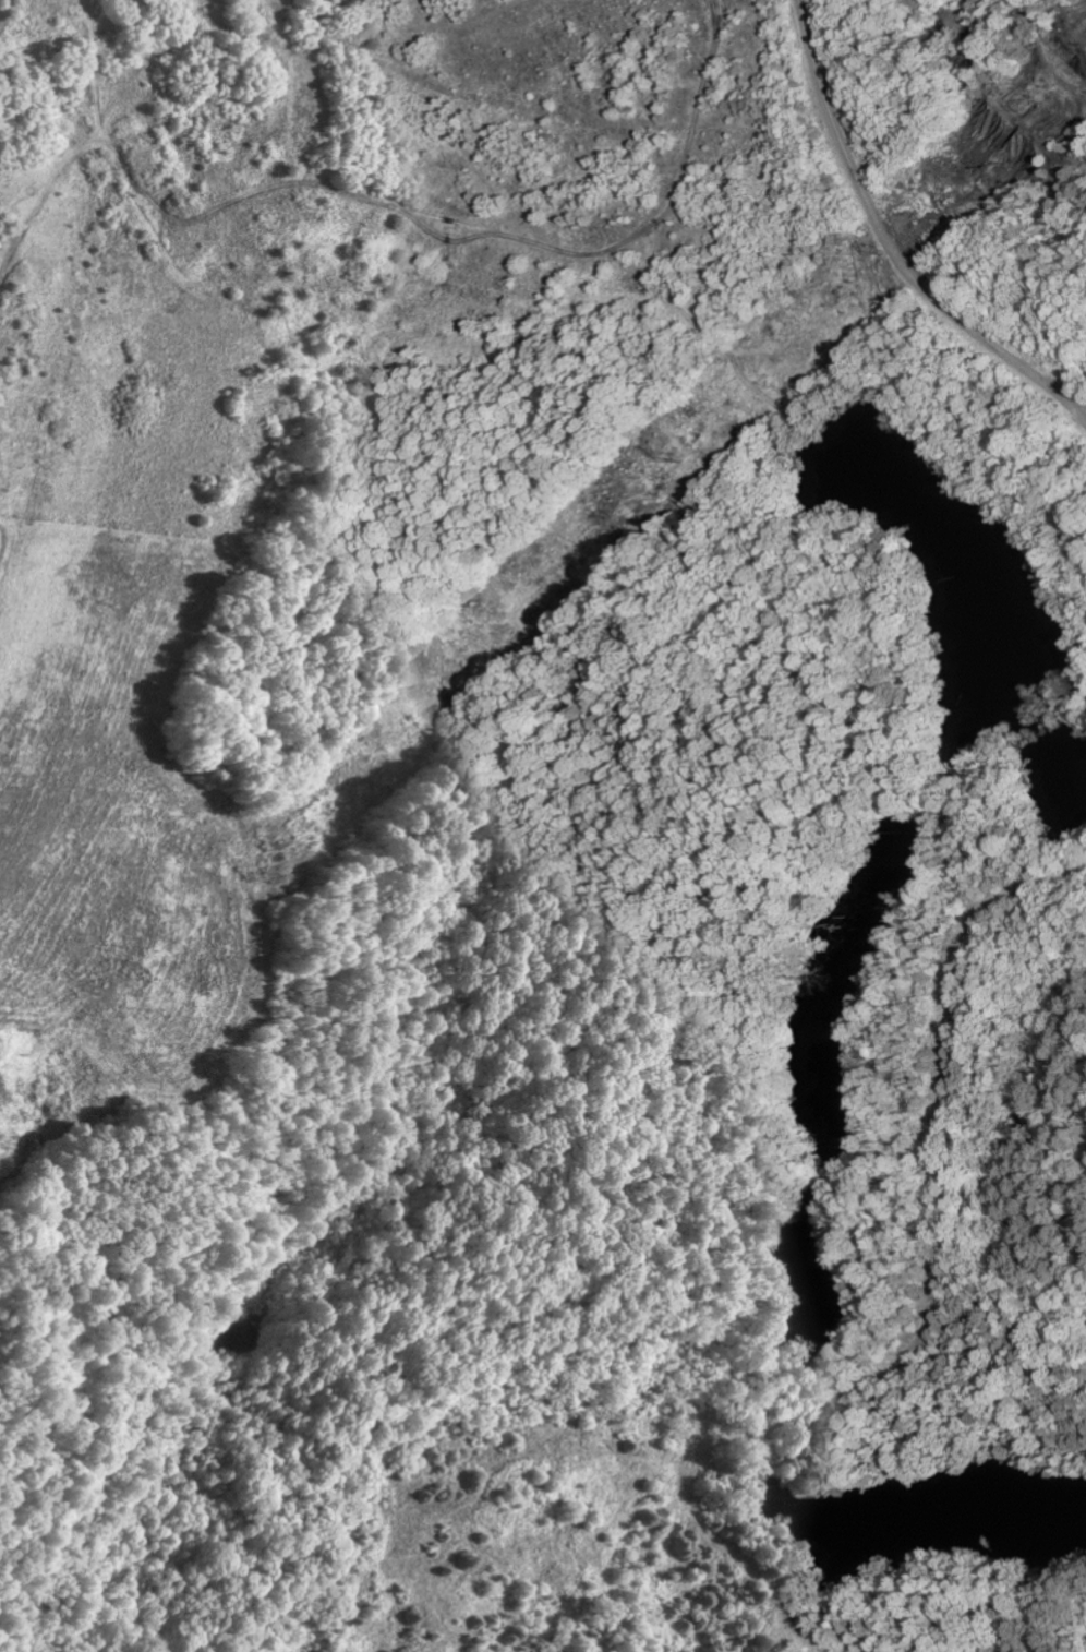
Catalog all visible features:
road: (894, 243)

